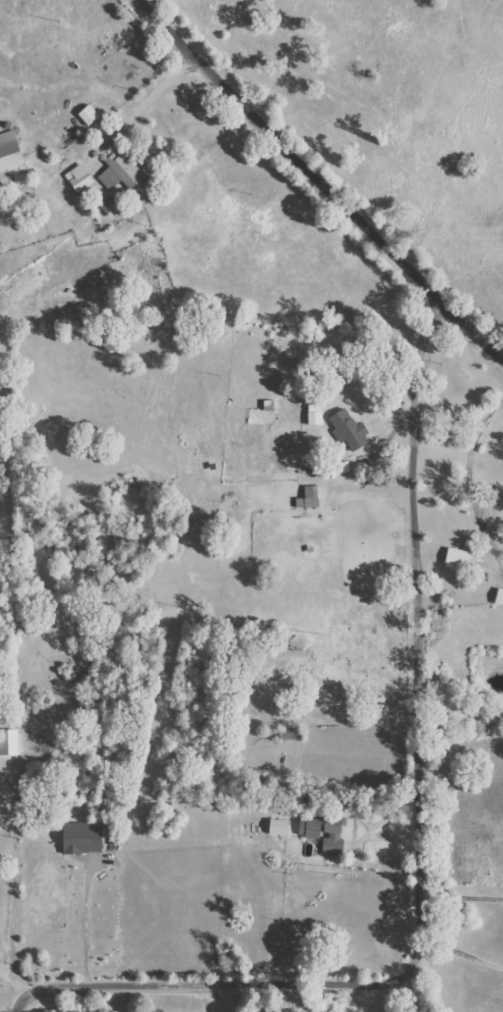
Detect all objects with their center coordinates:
building: (10, 151)
building: (124, 173)
building: (80, 177)
road: (315, 185)
building: (110, 206)
building: (349, 429)
road: (467, 480)
building: (309, 497)
building: (459, 558)
building: (500, 597)
building: (279, 826)
building: (323, 831)
building: (84, 837)
road: (418, 837)
road: (14, 879)
road: (460, 897)
road: (85, 919)
road: (16, 978)
road: (431, 982)
road: (408, 989)

